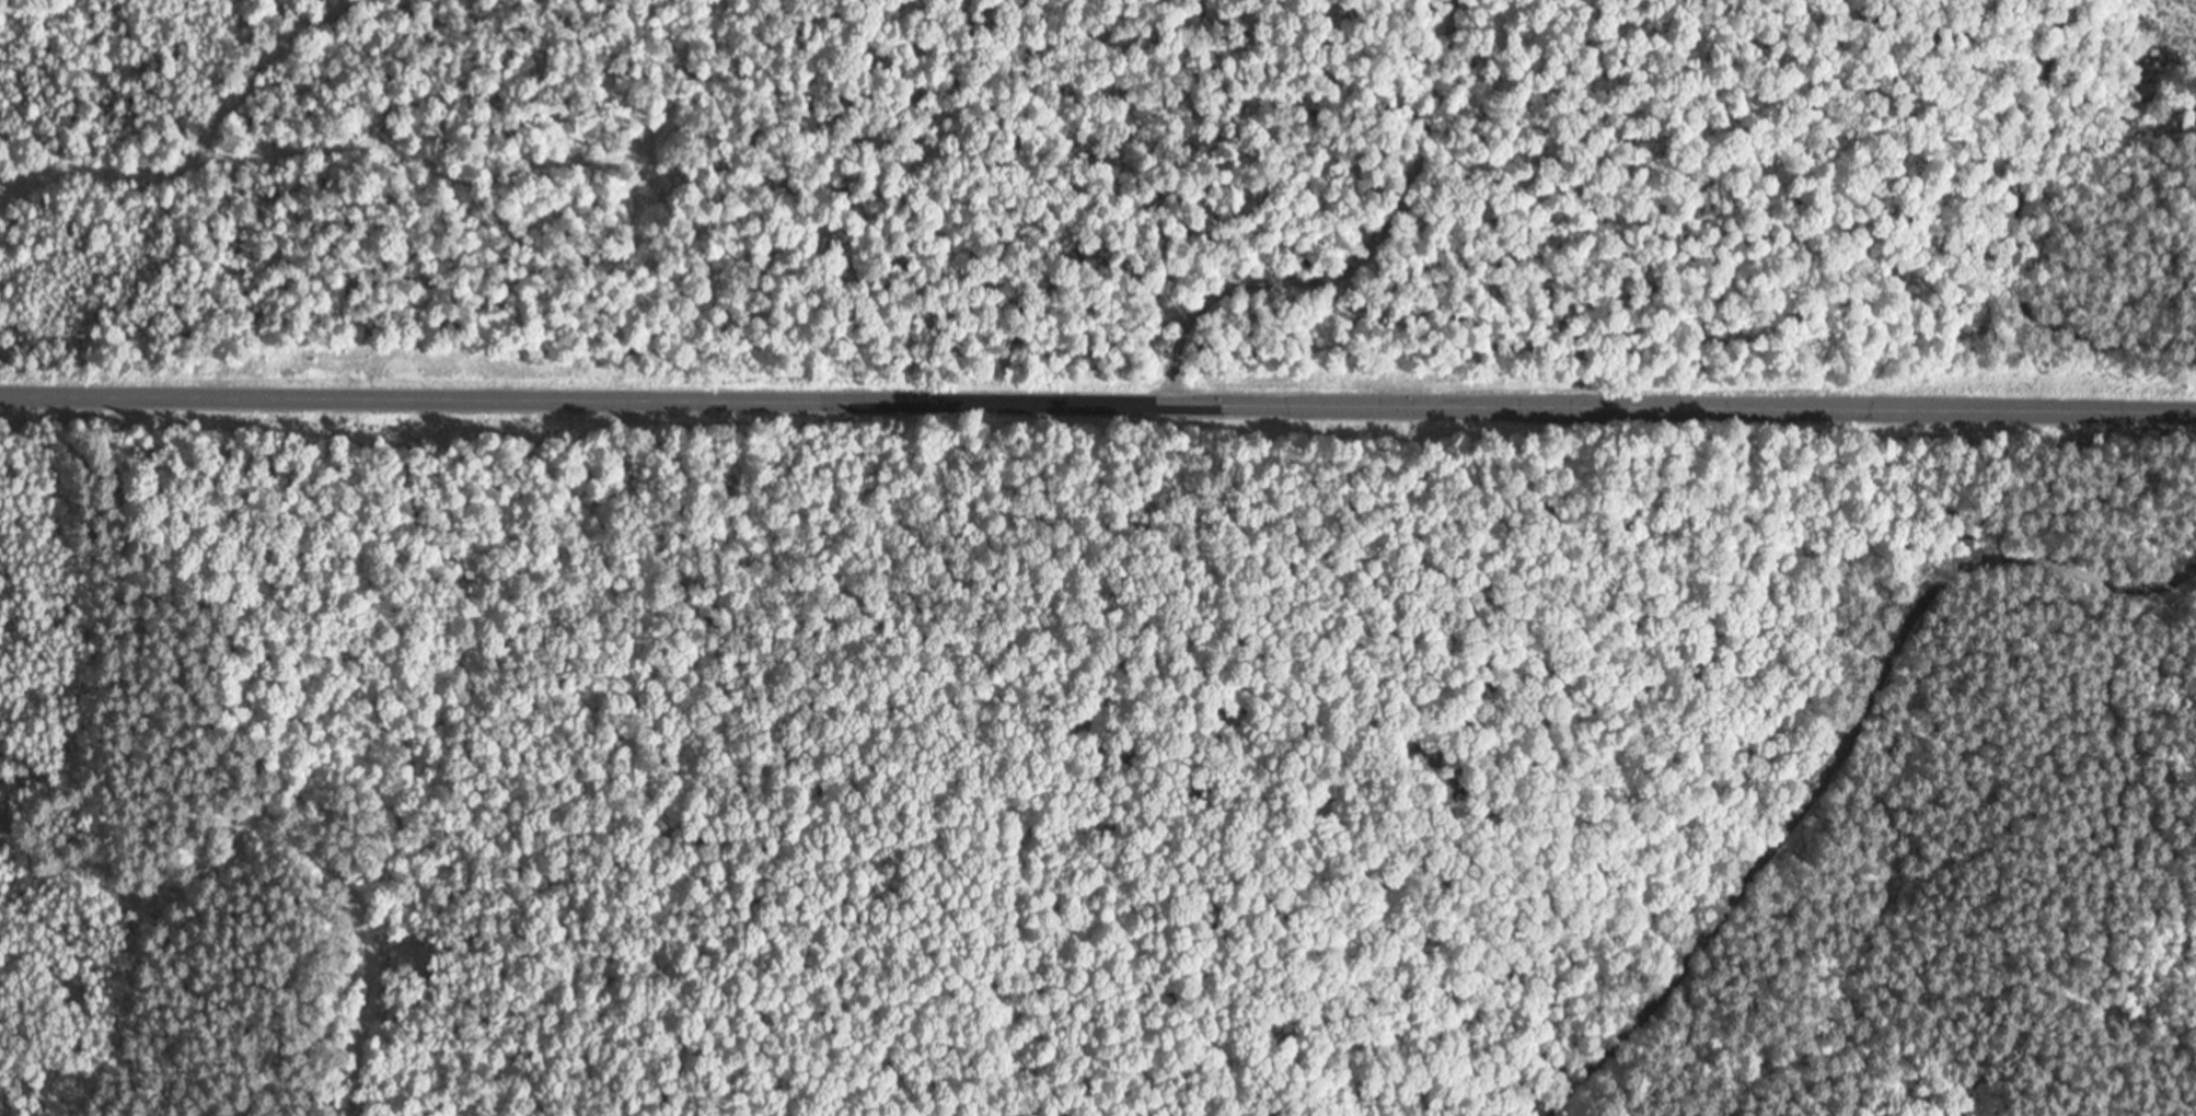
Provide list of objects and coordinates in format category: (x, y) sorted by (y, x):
road: (1366, 253)
road: (1097, 403)
road: (1844, 752)

